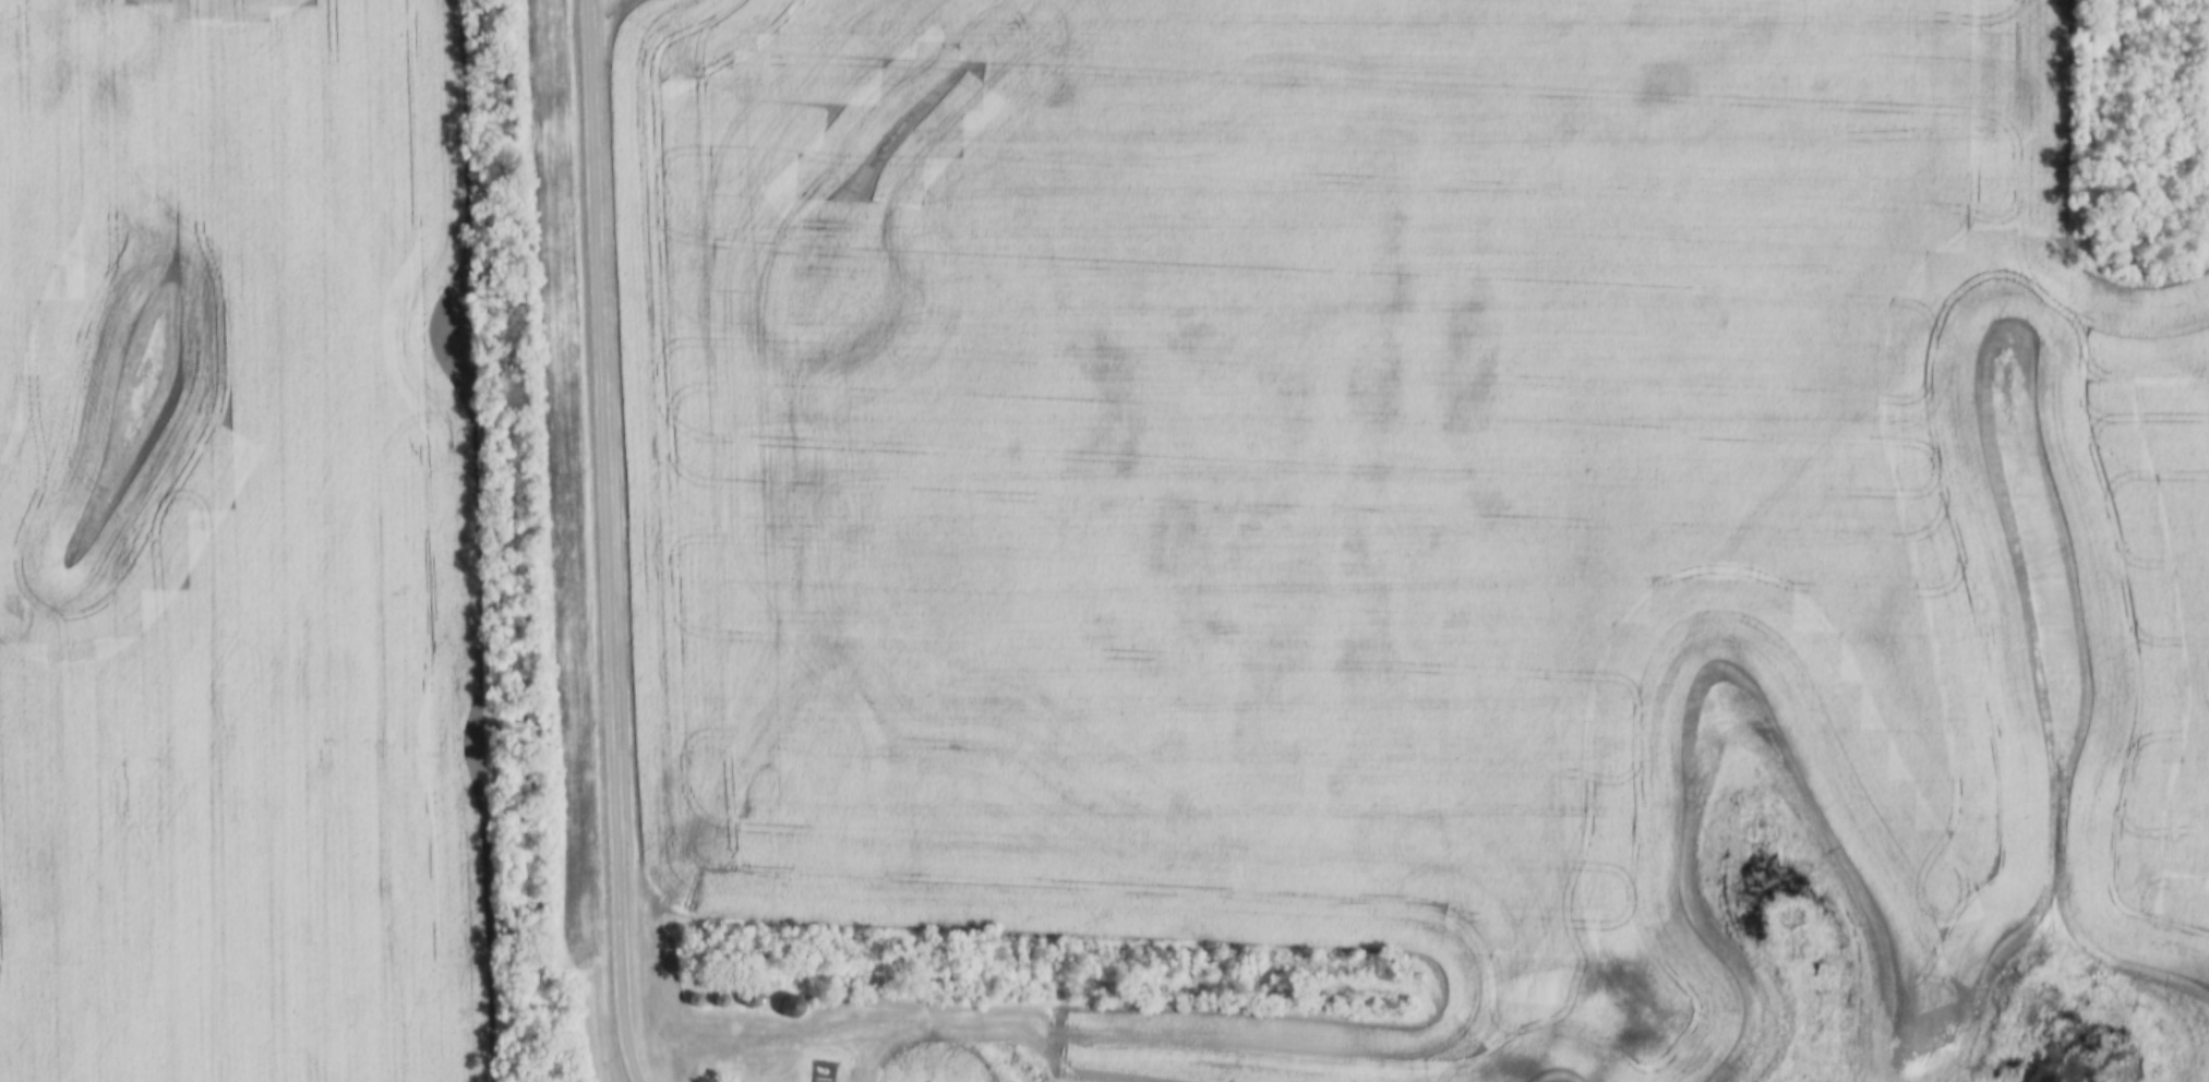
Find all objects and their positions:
road: (610, 541)
building: (789, 1007)

